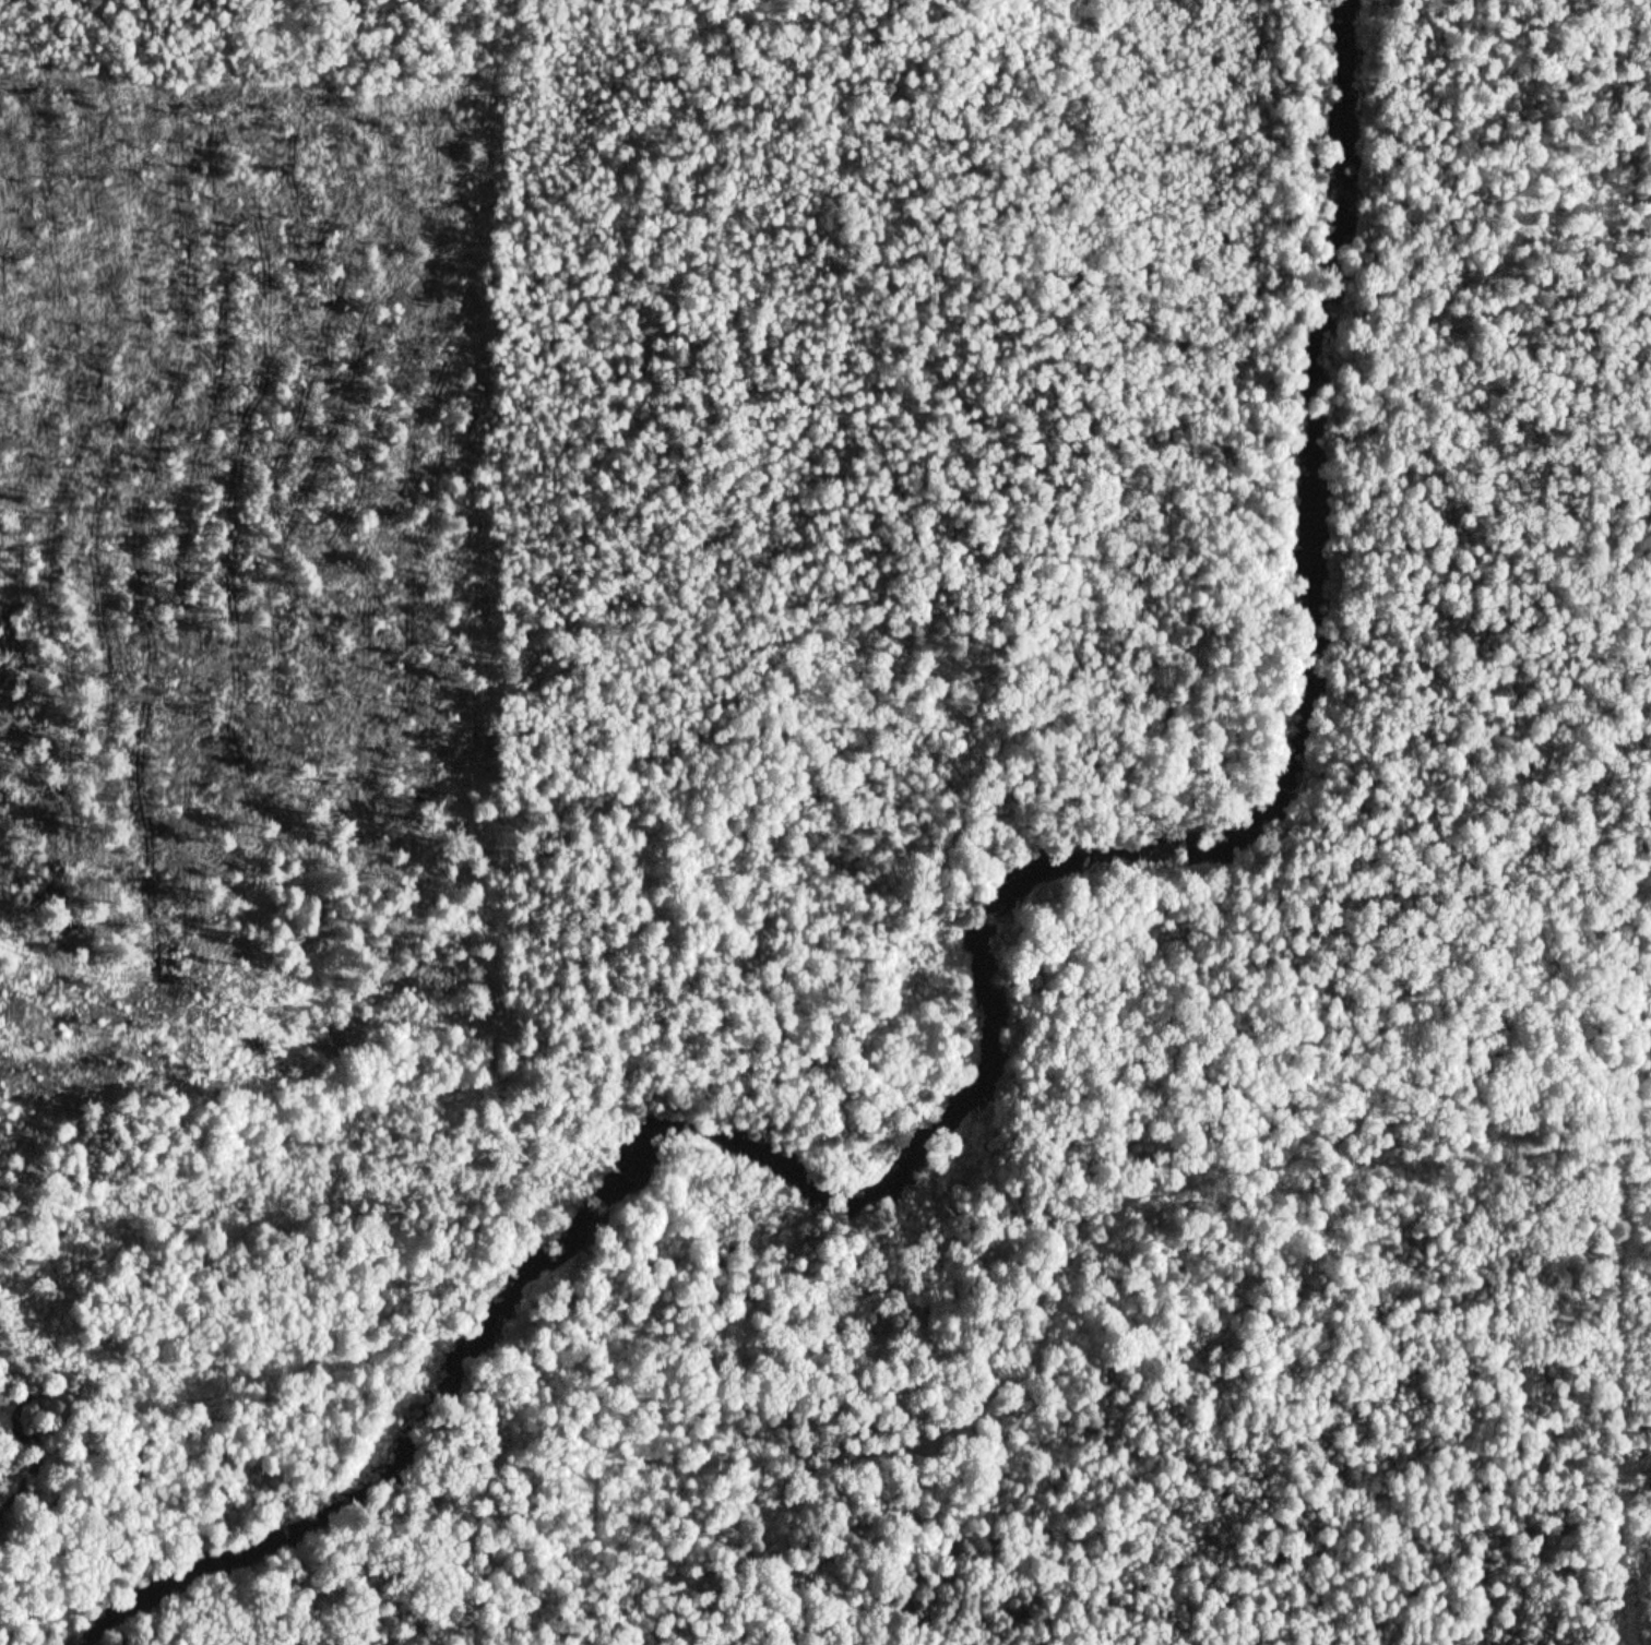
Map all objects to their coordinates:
river: (1083, 879)
river: (239, 1565)

